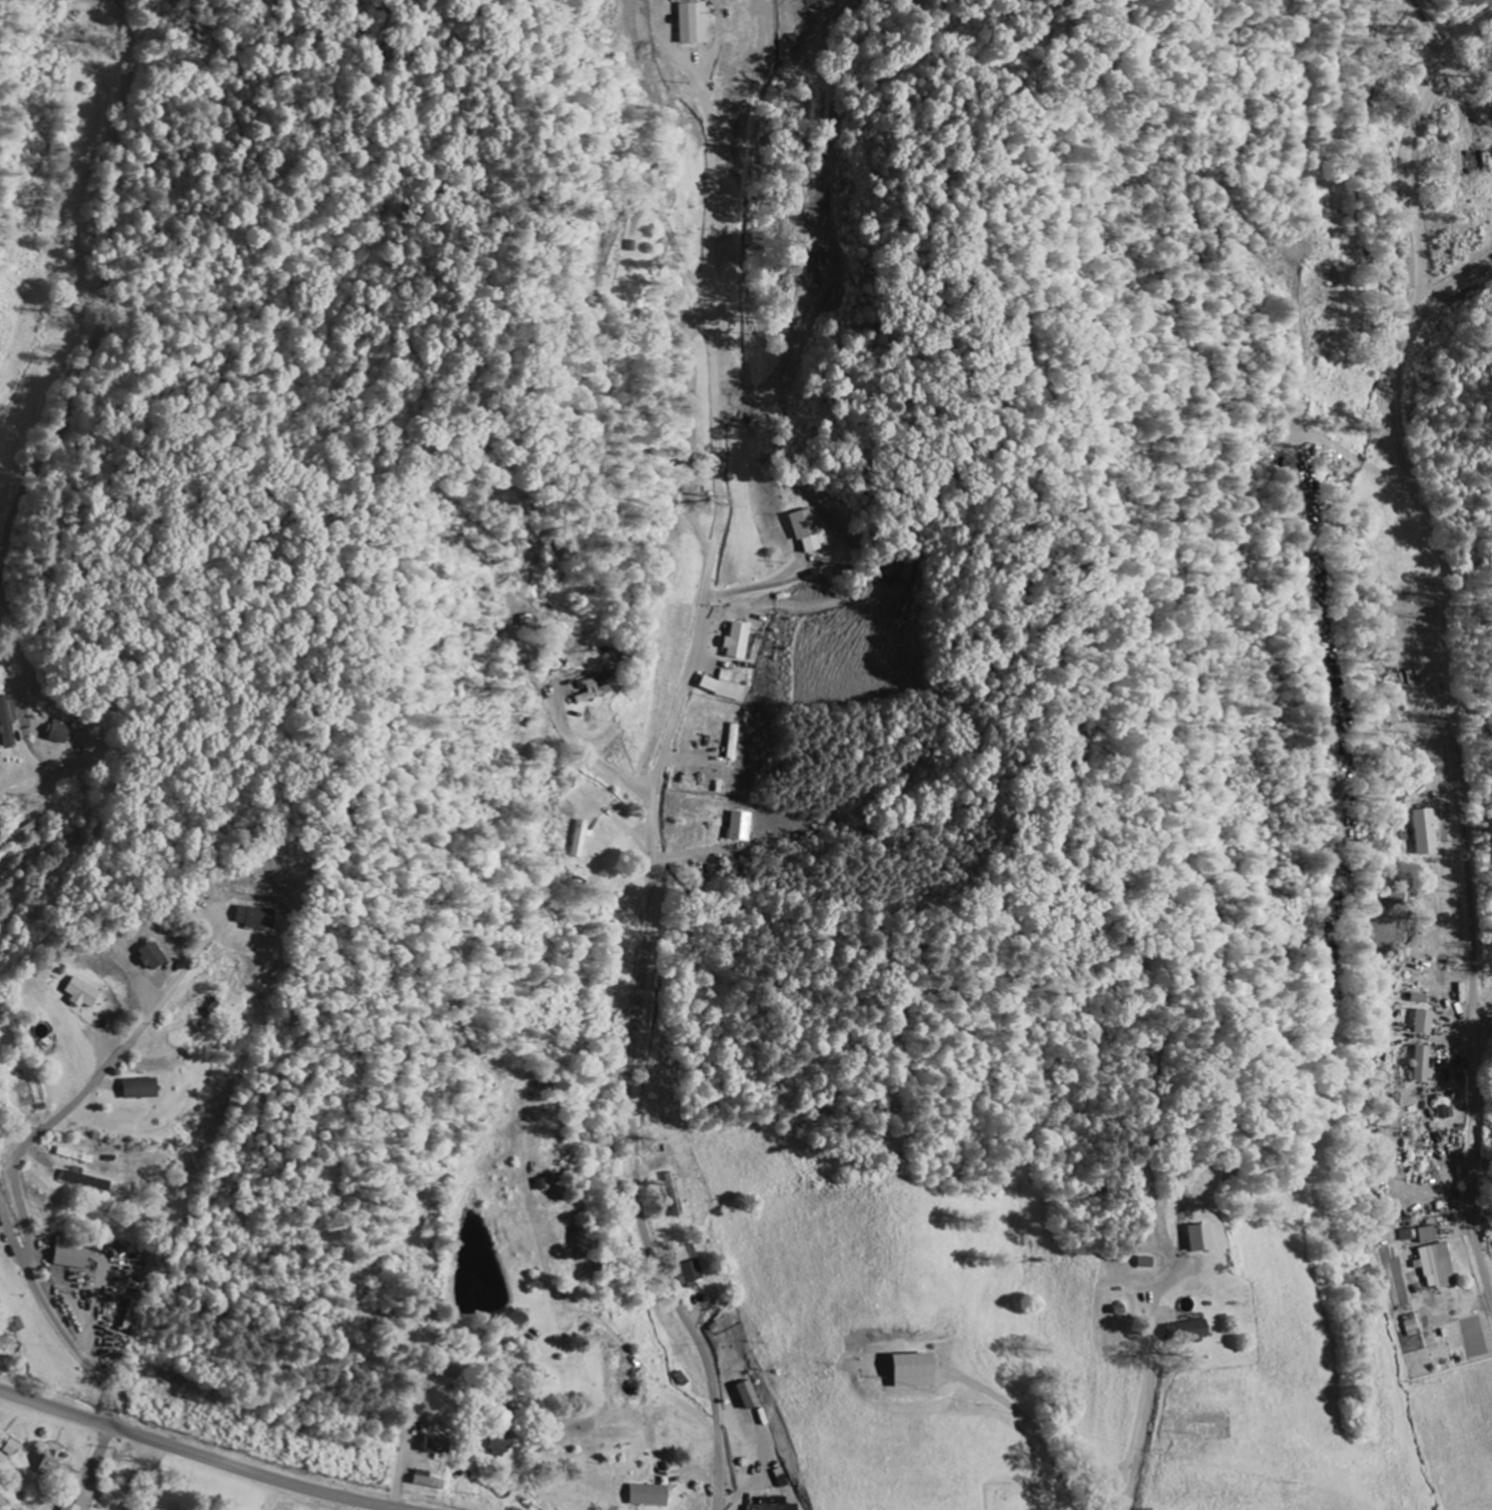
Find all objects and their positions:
building: (697, 24)
road: (107, 277)
building: (808, 533)
building: (901, 572)
building: (741, 643)
road: (1446, 680)
building: (729, 686)
building: (595, 692)
building: (8, 723)
building: (62, 734)
road: (654, 796)
building: (742, 828)
building: (1427, 833)
building: (253, 918)
building: (153, 957)
building: (85, 994)
building: (1427, 1022)
building: (1424, 1064)
building: (143, 1089)
building: (88, 1182)
building: (679, 1195)
building: (1410, 1235)
building: (1430, 1235)
building: (1204, 1238)
building: (73, 1254)
building: (686, 1254)
building: (1148, 1263)
building: (1439, 1269)
building: (692, 1273)
road: (55, 1320)
building: (1414, 1326)
building: (1191, 1333)
building: (918, 1371)
road: (1146, 1387)
building: (751, 1396)
building: (442, 1445)
building: (503, 1446)
building: (11, 1453)
road: (202, 1456)
building: (56, 1461)
building: (653, 1496)
building: (776, 1505)
building: (74, 1506)

